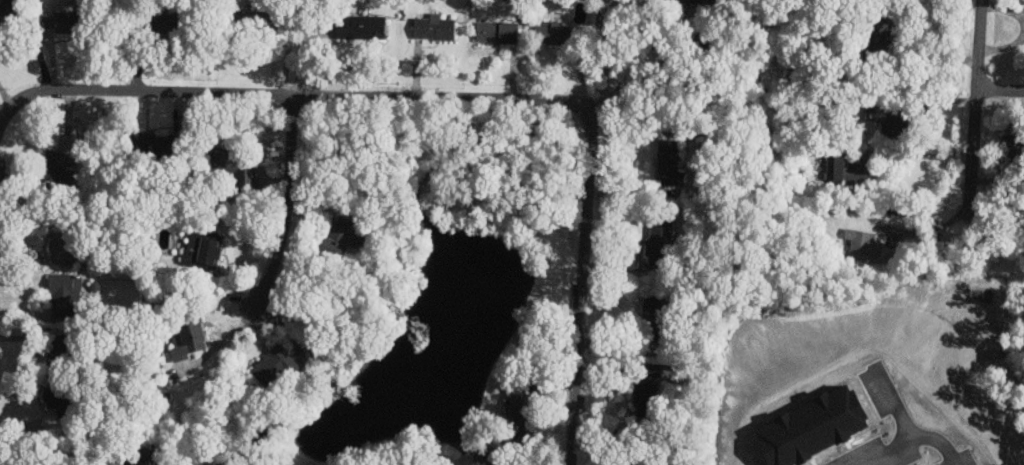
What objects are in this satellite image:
building: (681, 1)
building: (697, 1)
building: (8, 16)
building: (258, 16)
building: (69, 18)
building: (164, 19)
building: (360, 26)
building: (435, 26)
building: (553, 31)
building: (498, 32)
building: (874, 33)
road: (691, 44)
road: (1001, 85)
road: (290, 93)
road: (977, 108)
building: (889, 118)
road: (0, 125)
building: (156, 145)
building: (1013, 147)
building: (271, 153)
road: (922, 154)
building: (225, 161)
building: (669, 161)
building: (53, 166)
building: (845, 169)
building: (240, 170)
road: (283, 204)
road: (953, 216)
road: (930, 227)
road: (904, 232)
building: (337, 236)
building: (62, 240)
building: (659, 241)
building: (862, 241)
building: (204, 249)
road: (579, 289)
building: (63, 294)
building: (652, 309)
building: (188, 337)
building: (275, 366)
building: (645, 389)
road: (894, 403)
building: (518, 411)
road: (910, 440)
building: (137, 459)

